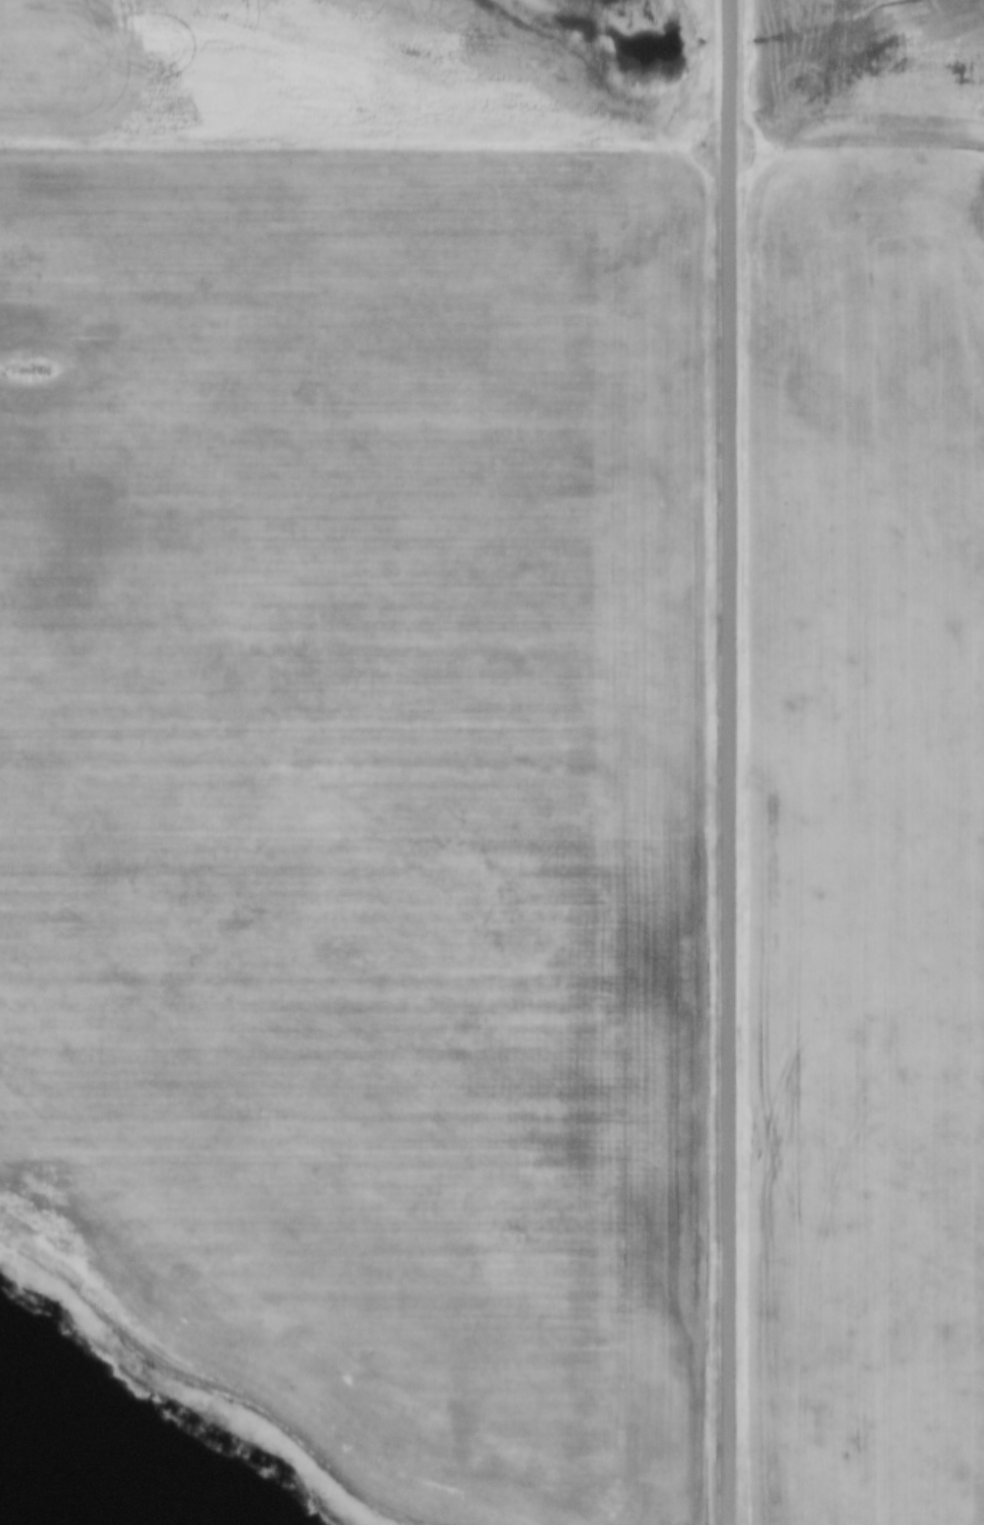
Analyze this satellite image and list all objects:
road: (726, 762)

